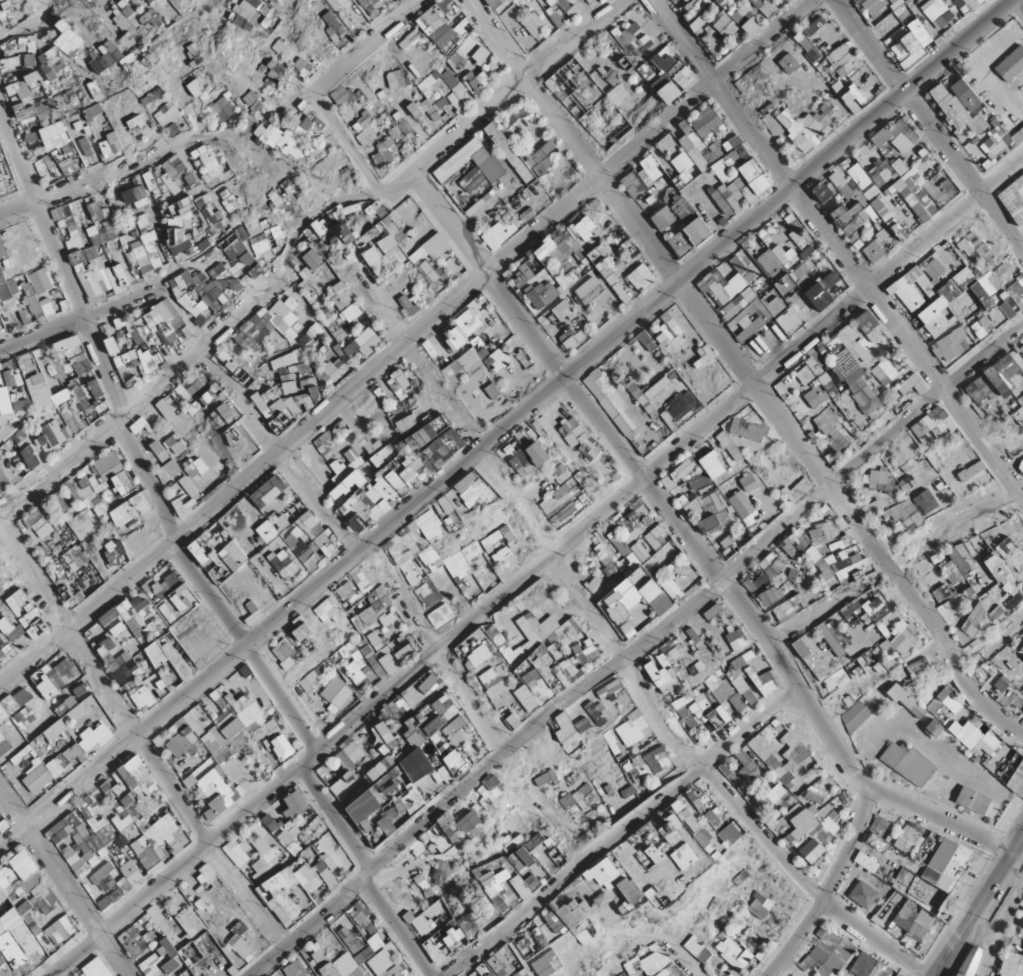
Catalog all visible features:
road: (26, 26)
road: (359, 41)
road: (498, 97)
road: (400, 339)
road: (499, 425)
road: (631, 644)
road: (978, 905)

